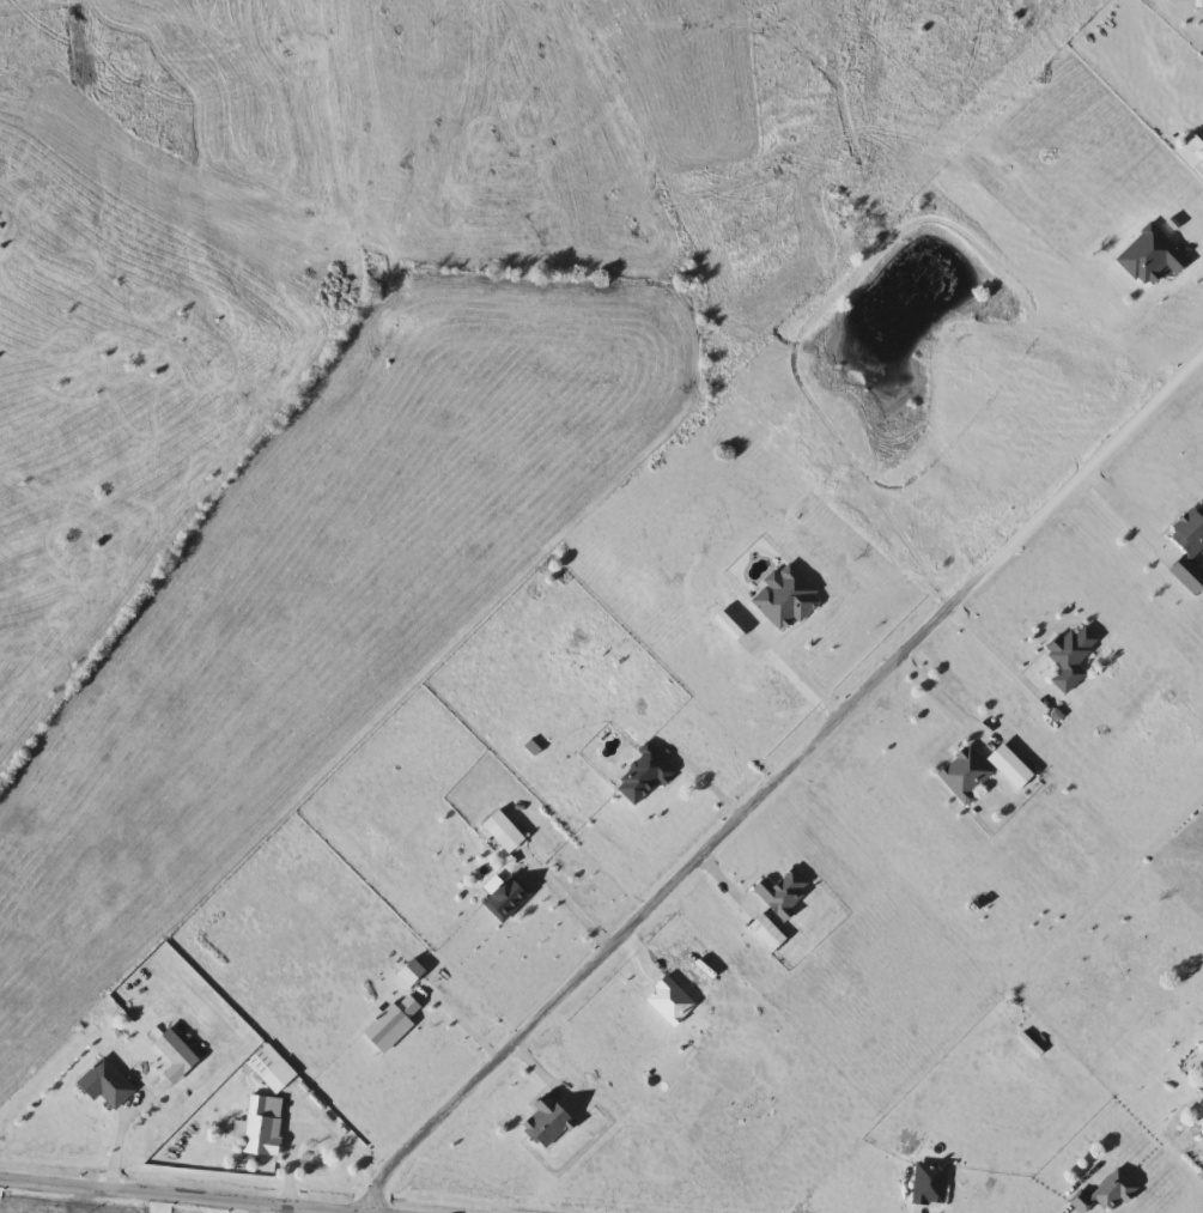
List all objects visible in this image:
building: (1191, 152)
building: (1154, 255)
road: (1126, 511)
building: (1190, 548)
building: (788, 598)
road: (996, 653)
building: (1071, 656)
road: (794, 677)
road: (942, 700)
building: (1011, 766)
building: (966, 772)
building: (645, 775)
road: (776, 781)
building: (505, 830)
building: (784, 892)
building: (506, 899)
road: (564, 906)
building: (767, 932)
building: (670, 1000)
road: (458, 1026)
building: (262, 1063)
building: (109, 1084)
building: (549, 1120)
road: (127, 1128)
building: (262, 1129)
road: (350, 1139)
building: (930, 1183)
building: (1104, 1193)
road: (159, 1195)

